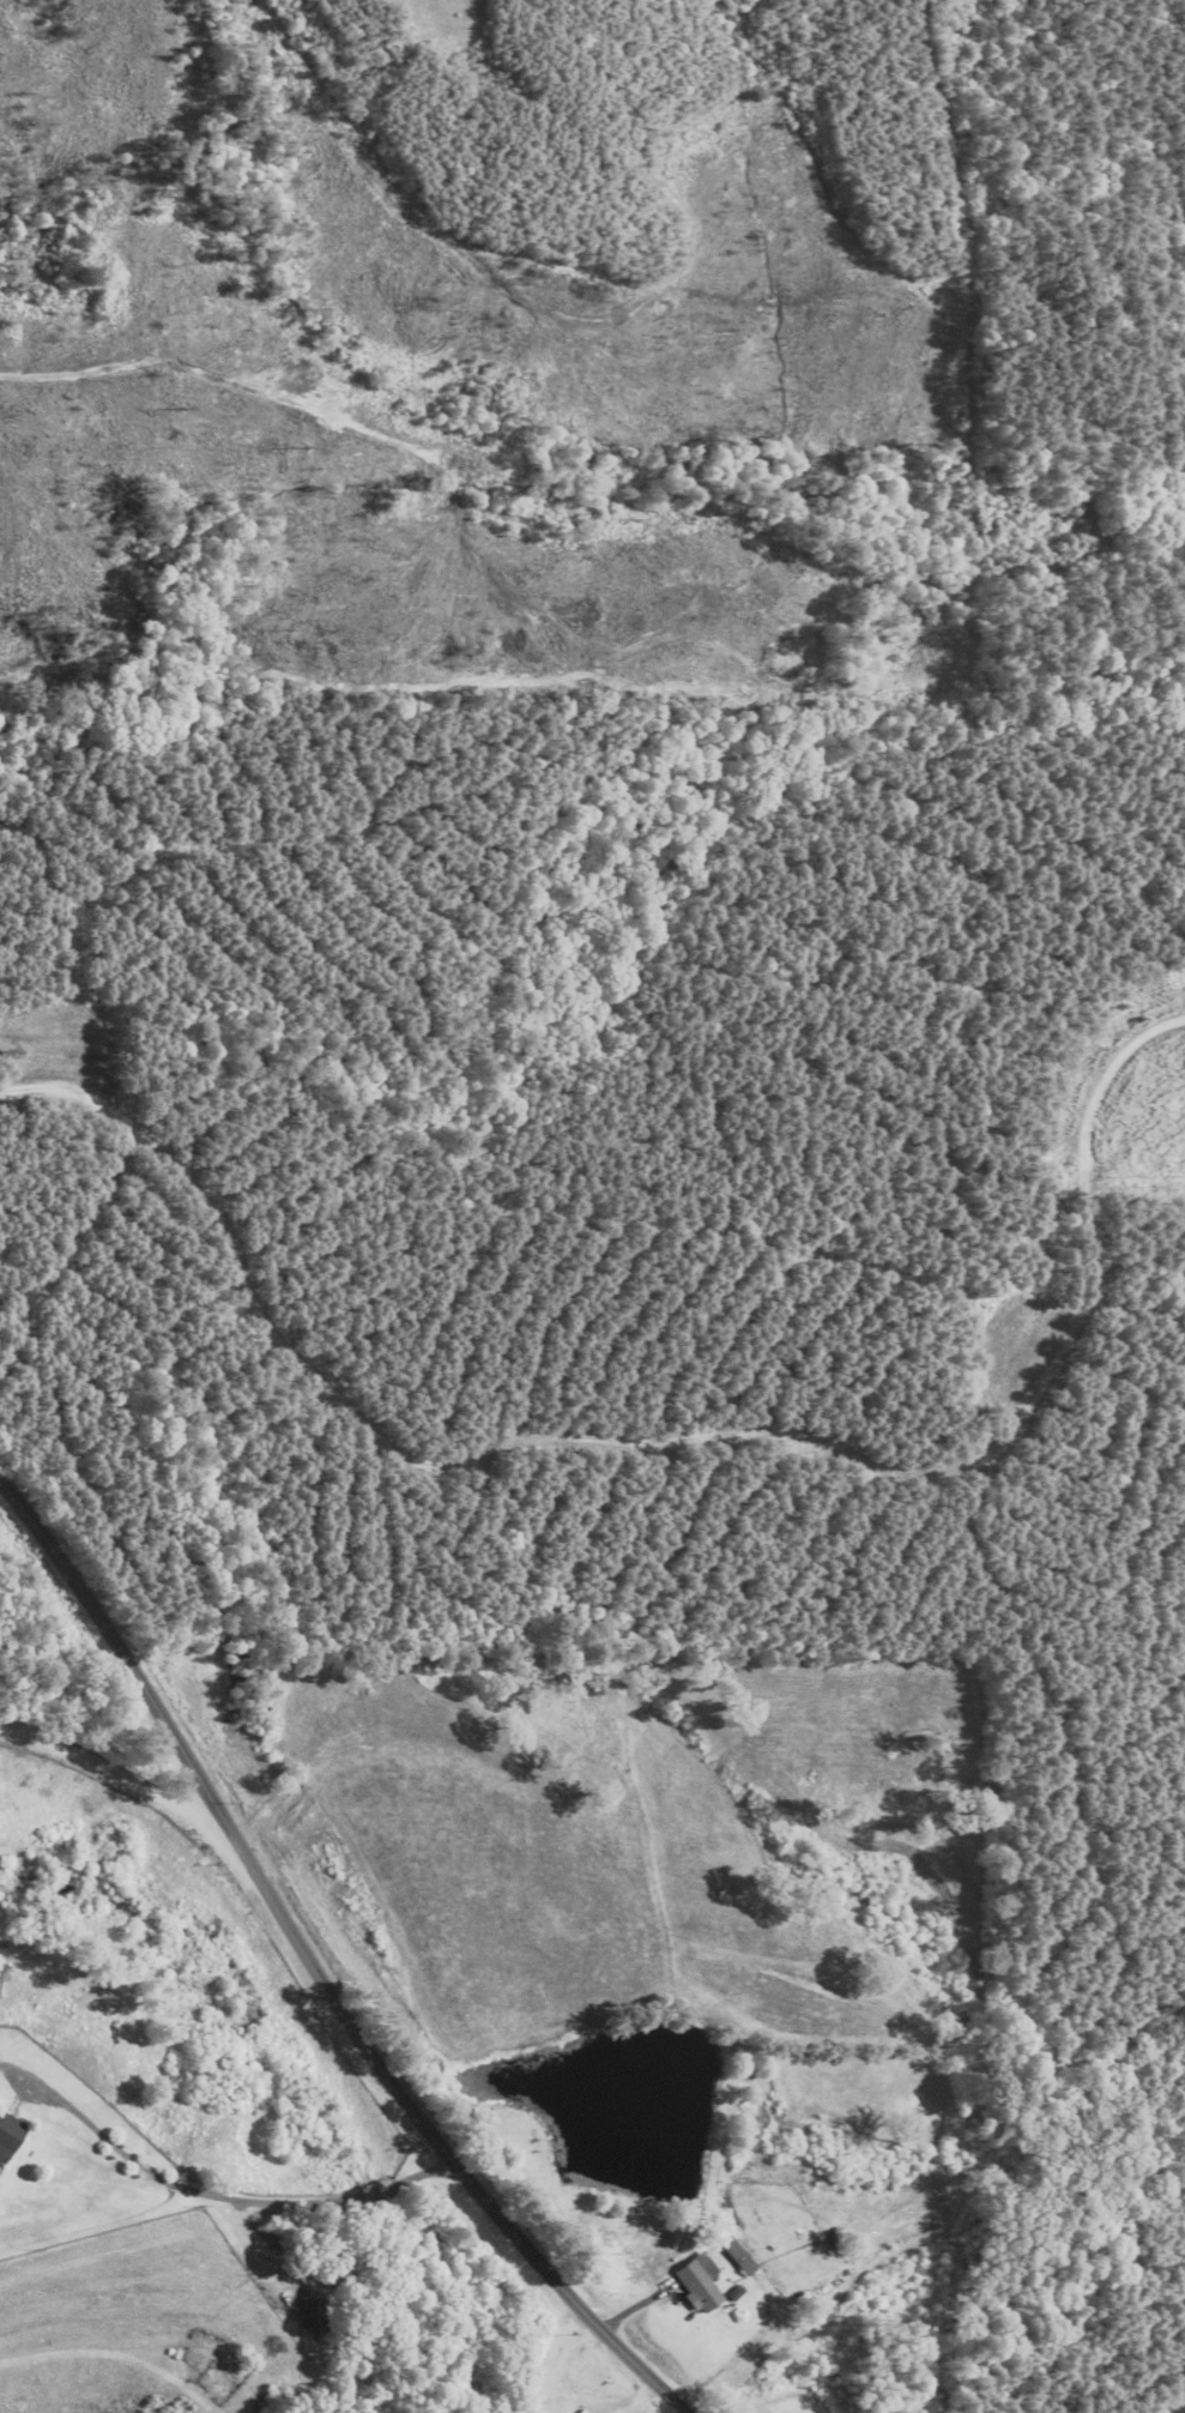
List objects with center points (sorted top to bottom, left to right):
road: (114, 1770)
road: (315, 1971)
building: (10, 2136)
road: (211, 2194)
building: (740, 2256)
building: (701, 2284)

